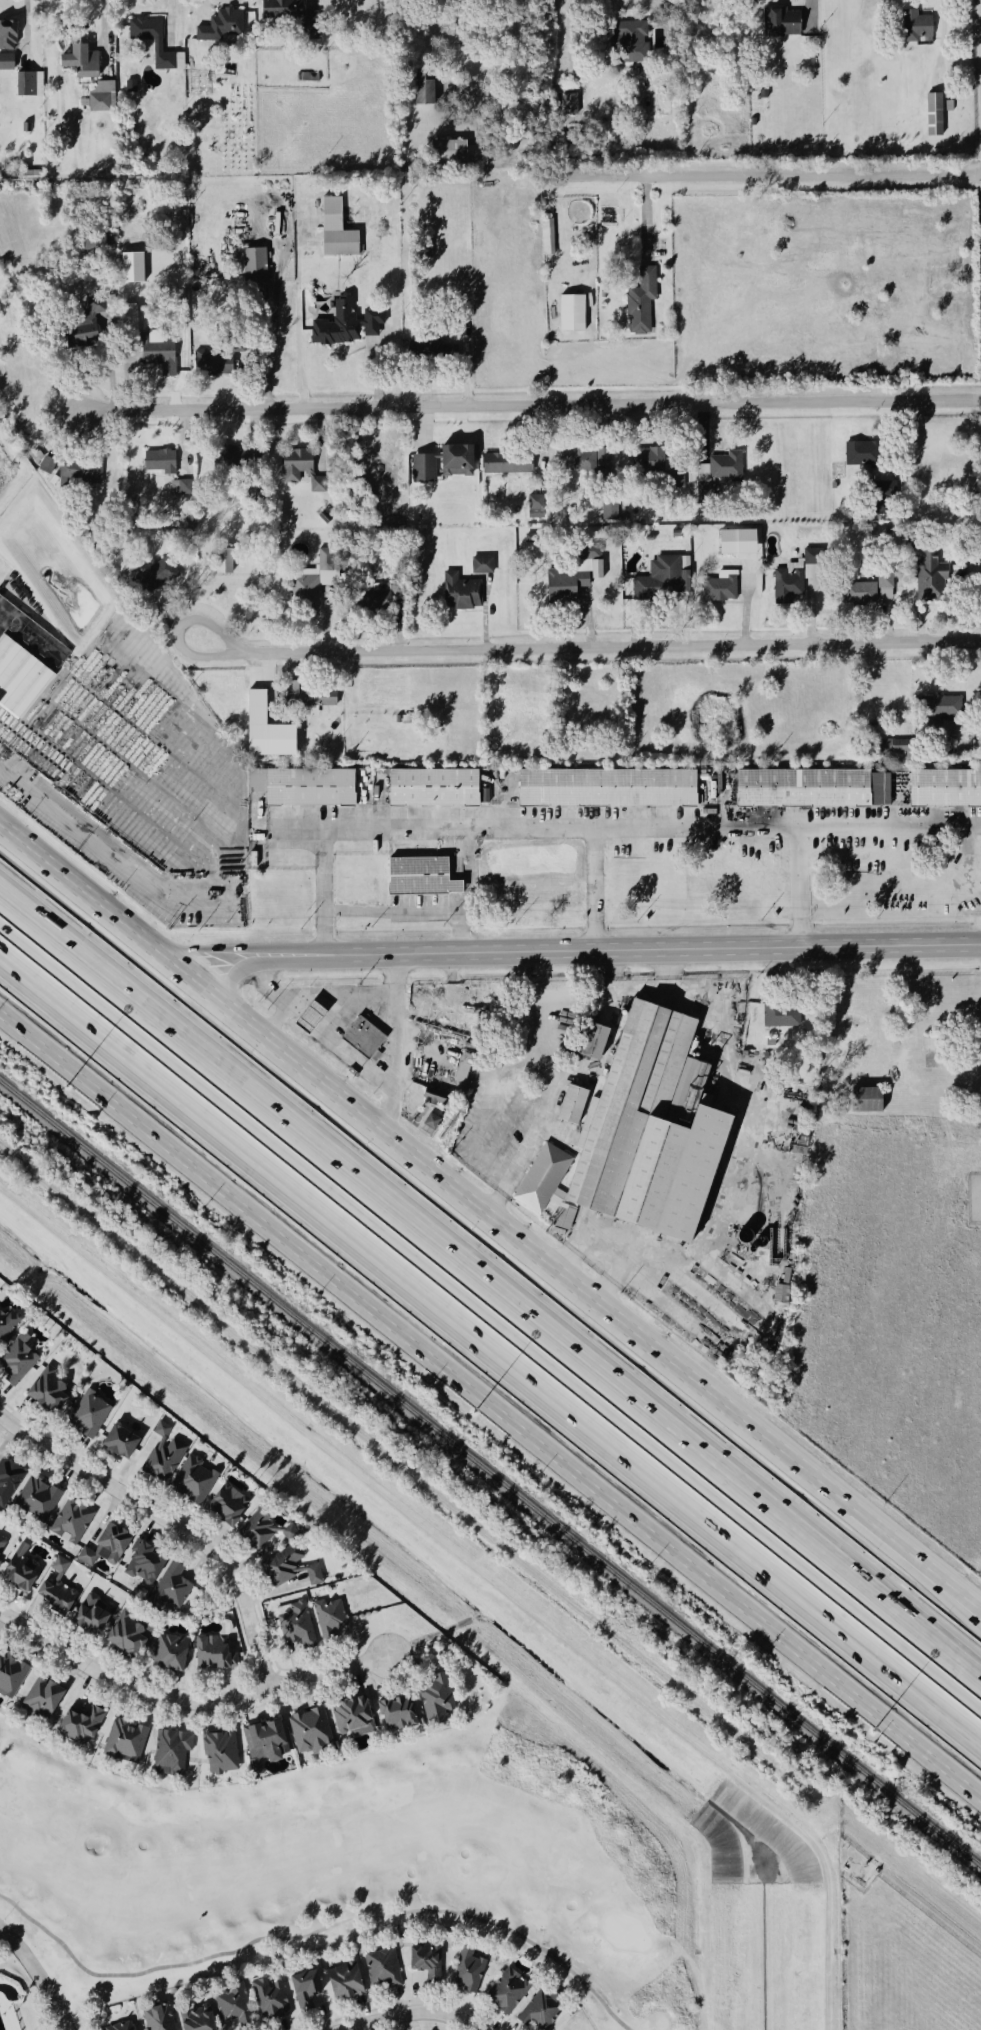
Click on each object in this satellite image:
building: (279, 10)
road: (168, 23)
building: (781, 24)
building: (219, 25)
building: (917, 29)
road: (944, 30)
road: (29, 31)
road: (106, 41)
building: (630, 42)
building: (158, 45)
road: (458, 51)
building: (78, 61)
building: (7, 62)
building: (26, 84)
building: (130, 86)
building: (421, 91)
building: (763, 94)
building: (99, 102)
building: (569, 104)
building: (934, 114)
road: (646, 121)
building: (752, 122)
building: (448, 154)
road: (773, 175)
road: (646, 216)
building: (333, 231)
building: (547, 235)
building: (255, 266)
building: (132, 267)
building: (639, 303)
building: (572, 312)
road: (272, 316)
building: (87, 323)
building: (345, 325)
building: (157, 357)
building: (210, 364)
road: (530, 405)
building: (858, 453)
building: (225, 457)
building: (648, 461)
building: (42, 462)
building: (158, 462)
building: (582, 462)
building: (507, 463)
building: (439, 464)
building: (720, 468)
building: (300, 471)
building: (79, 473)
building: (532, 506)
building: (607, 510)
building: (325, 517)
building: (734, 542)
building: (224, 561)
building: (480, 565)
building: (596, 568)
building: (664, 576)
building: (928, 578)
building: (790, 579)
building: (310, 581)
building: (884, 586)
building: (718, 587)
building: (860, 592)
building: (460, 593)
building: (374, 596)
road: (482, 602)
road: (401, 603)
road: (657, 609)
road: (588, 610)
road: (891, 620)
road: (489, 622)
road: (749, 626)
road: (178, 630)
road: (611, 646)
building: (23, 659)
building: (307, 697)
building: (941, 707)
building: (397, 718)
building: (405, 719)
building: (946, 728)
building: (262, 730)
building: (898, 746)
building: (434, 787)
building: (310, 788)
building: (607, 788)
building: (803, 788)
building: (945, 788)
building: (482, 796)
road: (589, 827)
building: (418, 877)
road: (801, 886)
road: (595, 889)
road: (410, 910)
road: (585, 951)
road: (287, 996)
gas station: (304, 1015)
building: (779, 1022)
road: (325, 1029)
building: (360, 1036)
road: (393, 1040)
building: (594, 1041)
road: (959, 1063)
road: (938, 1065)
road: (546, 1086)
building: (423, 1099)
building: (867, 1099)
building: (572, 1104)
building: (429, 1122)
road: (399, 1136)
building: (542, 1178)
building: (564, 1216)
road: (490, 1291)
building: (7, 1322)
road: (490, 1342)
building: (16, 1360)
building: (46, 1390)
road: (492, 1403)
building: (87, 1414)
building: (117, 1442)
building: (161, 1453)
railway: (490, 1476)
building: (8, 1479)
building: (191, 1479)
building: (35, 1499)
building: (225, 1504)
road: (169, 1520)
building: (69, 1521)
road: (889, 1526)
railway: (491, 1538)
road: (889, 1538)
building: (2, 1544)
building: (103, 1546)
building: (276, 1551)
building: (141, 1563)
building: (18, 1570)
building: (53, 1587)
building: (170, 1587)
building: (88, 1614)
building: (327, 1618)
building: (295, 1626)
building: (123, 1634)
building: (166, 1652)
building: (210, 1653)
building: (9, 1675)
building: (40, 1697)
road: (188, 1700)
building: (432, 1700)
building: (394, 1713)
building: (350, 1716)
building: (77, 1724)
building: (308, 1731)
building: (123, 1741)
building: (259, 1743)
building: (169, 1751)
building: (218, 1752)
park: (345, 1868)
road: (318, 1927)
building: (422, 1965)
building: (381, 1969)
building: (466, 1971)
road: (39, 1976)
building: (341, 1982)
building: (302, 1989)
building: (505, 1992)
park: (20, 1997)
building: (268, 1998)
building: (231, 2005)
building: (538, 2009)
road: (406, 2015)
building: (156, 2018)
building: (192, 2019)
building: (118, 2026)
road: (468, 2026)

